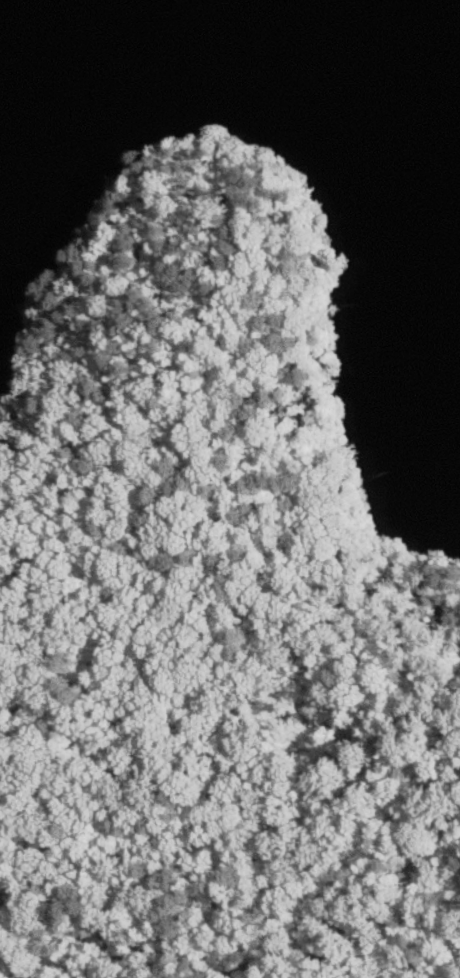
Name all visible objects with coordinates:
road: (249, 403)

